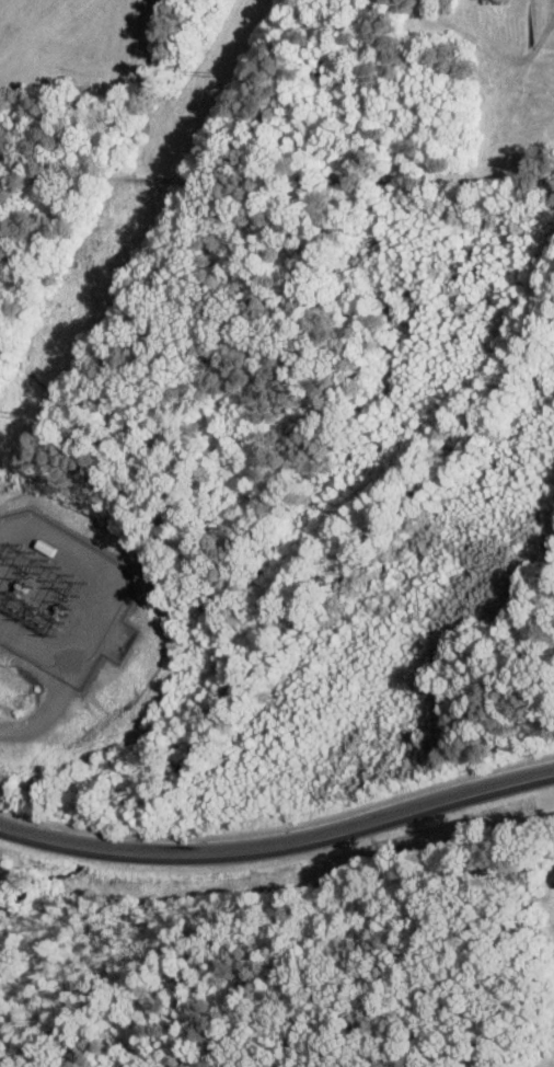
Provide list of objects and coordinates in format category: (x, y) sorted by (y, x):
power tower: (210, 74)
power tower: (16, 413)
power tower: (22, 552)
power substation: (61, 598)
road: (43, 720)
road: (279, 829)
road: (280, 850)

